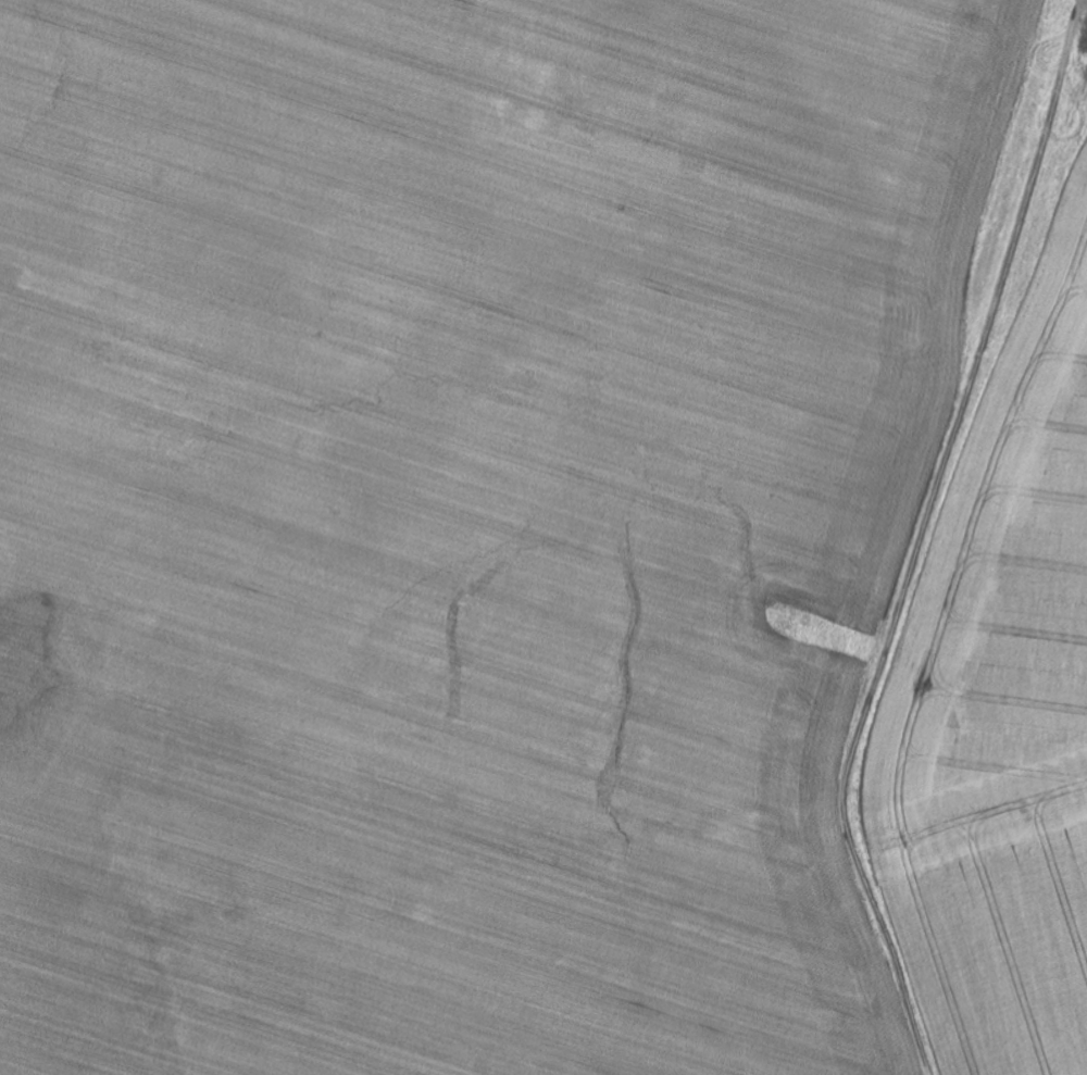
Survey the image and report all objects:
road: (946, 630)

